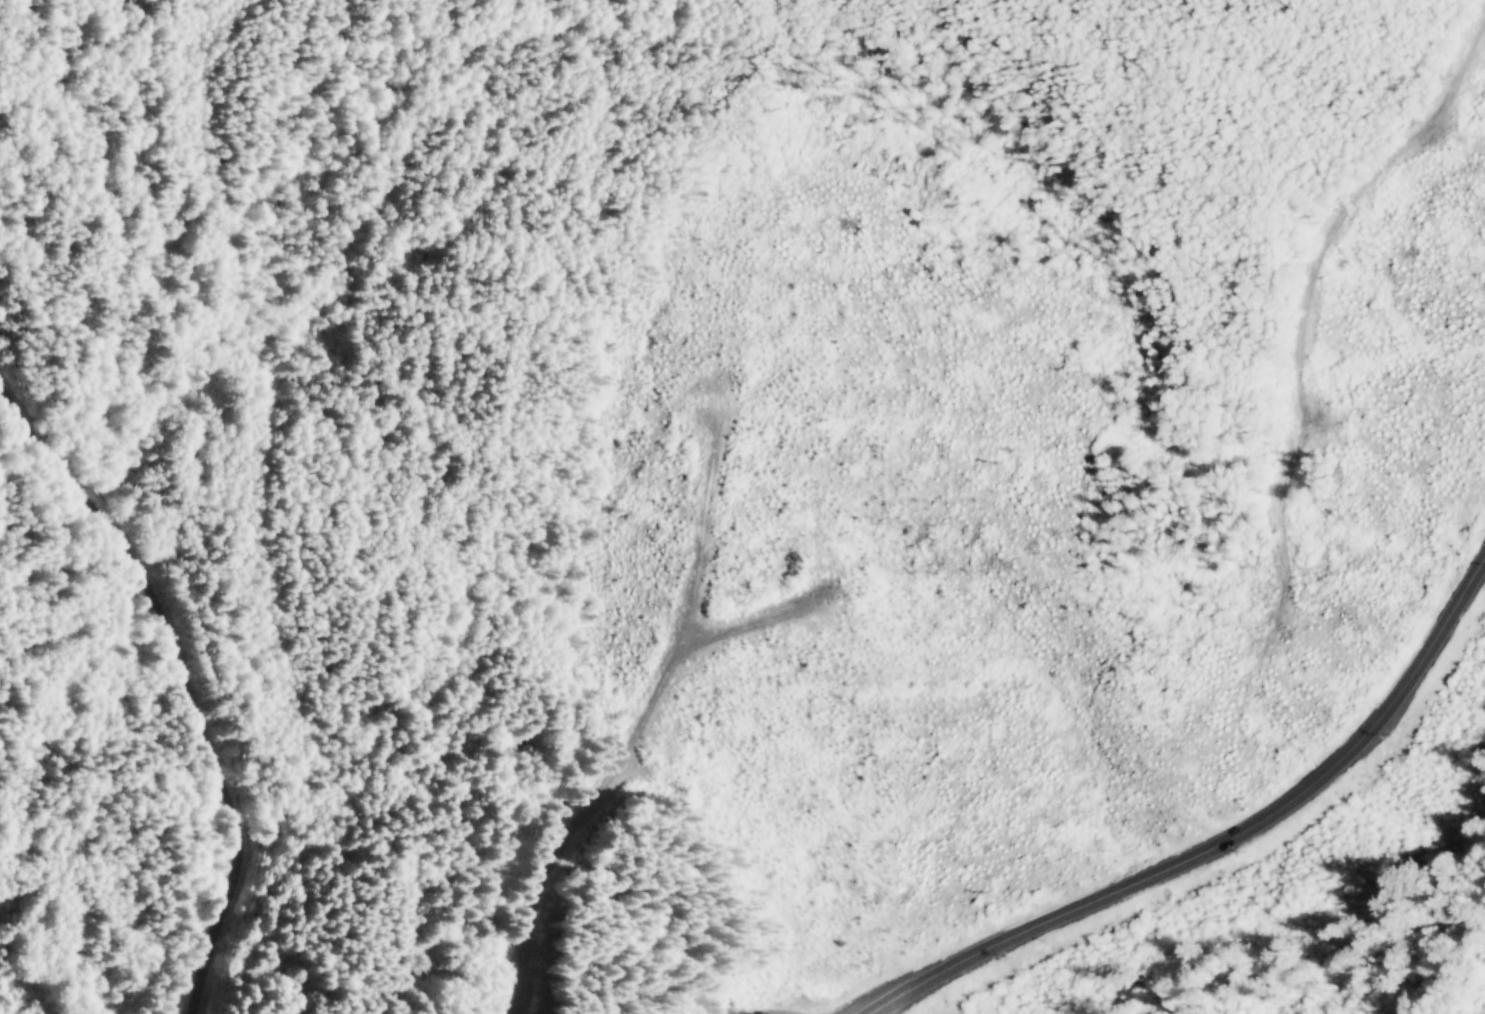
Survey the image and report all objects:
road: (192, 673)
road: (1222, 840)
road: (764, 1012)

